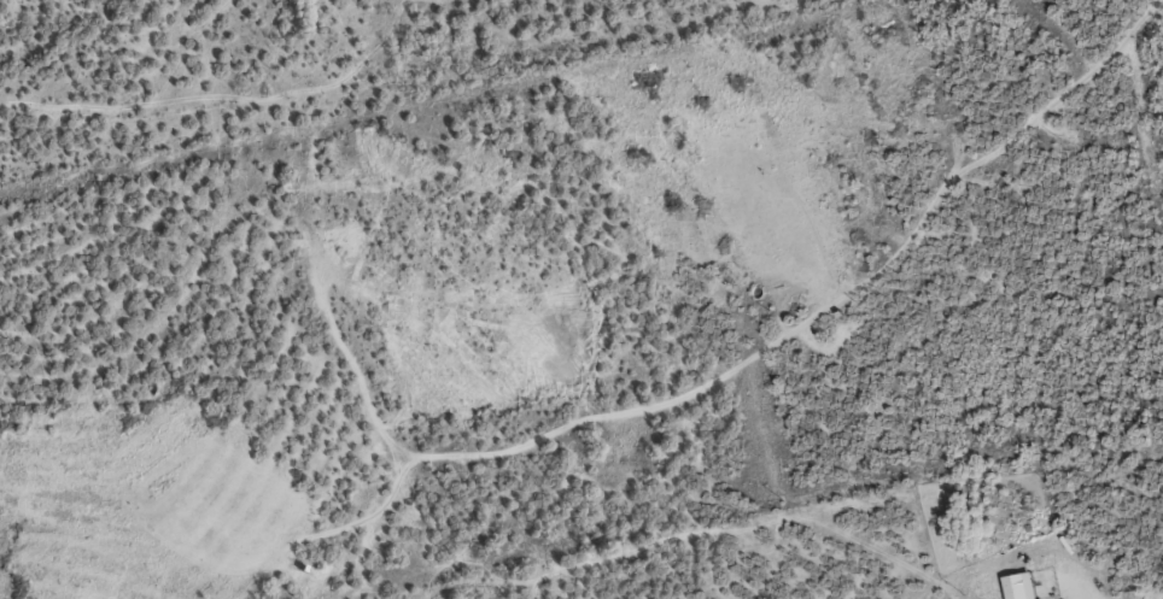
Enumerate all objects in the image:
road: (872, 65)
building: (1018, 586)

